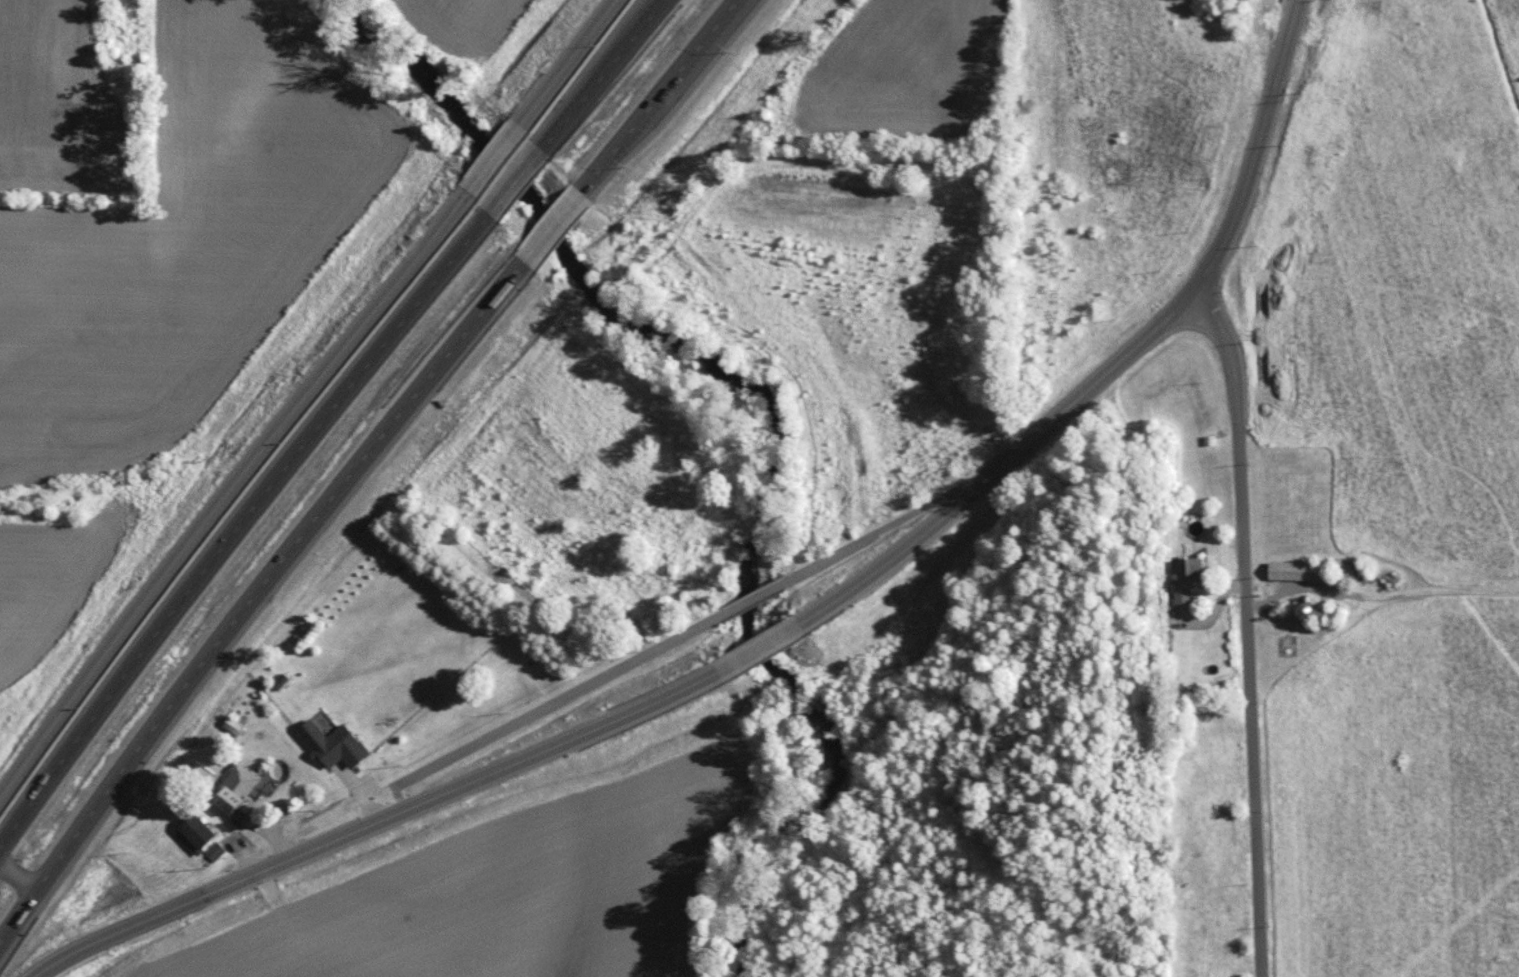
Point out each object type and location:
road: (566, 64)
road: (608, 80)
road: (663, 102)
road: (1268, 147)
road: (495, 157)
road: (521, 189)
road: (558, 233)
road: (944, 292)
road: (1007, 452)
road: (1023, 470)
road: (231, 488)
road: (980, 501)
road: (932, 519)
road: (243, 533)
road: (844, 562)
building: (1294, 569)
building: (1187, 575)
road: (768, 599)
road: (258, 601)
road: (1229, 608)
road: (1258, 627)
road: (773, 648)
road: (578, 696)
building: (232, 724)
building: (333, 742)
building: (234, 787)
road: (428, 790)
road: (373, 793)
road: (387, 823)
building: (194, 832)
road: (281, 833)
road: (252, 855)
road: (23, 874)
road: (282, 890)

